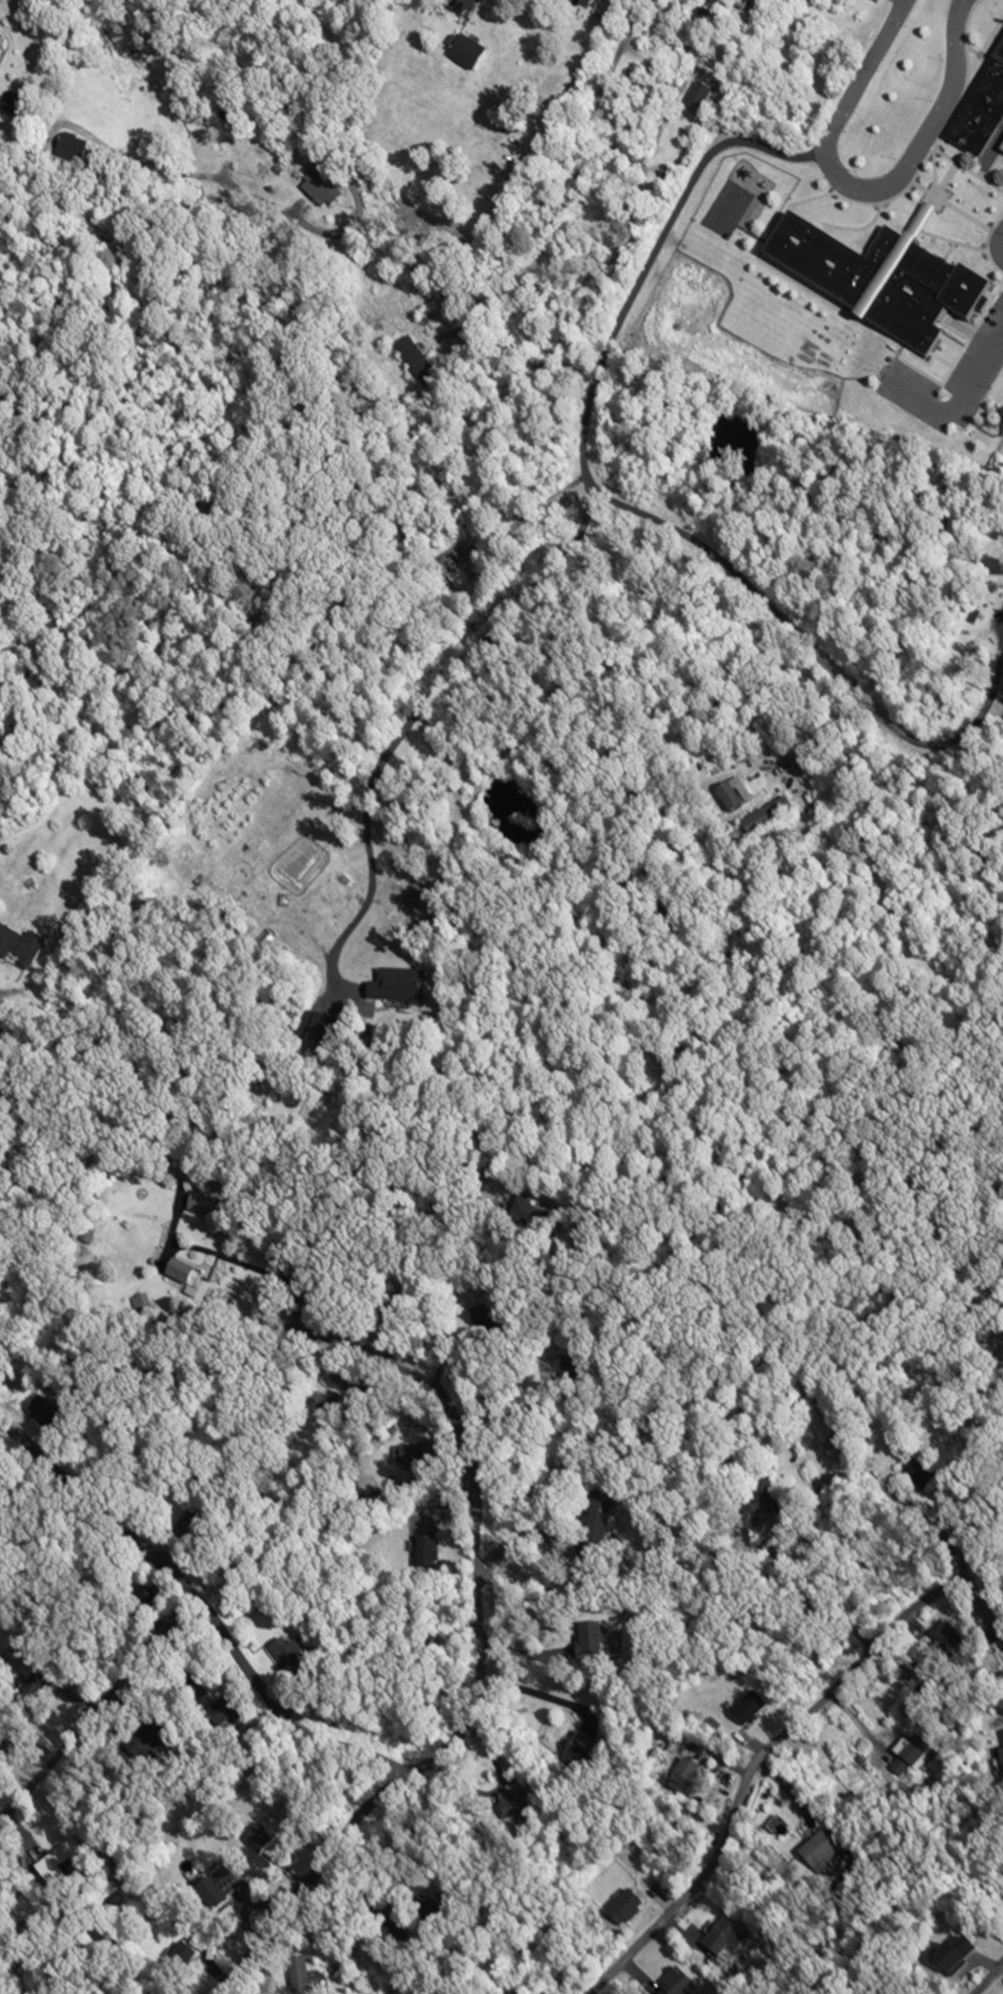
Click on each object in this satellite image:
building: (672, 4)
building: (744, 4)
road: (472, 6)
building: (697, 17)
building: (466, 53)
building: (633, 76)
road: (278, 94)
building: (698, 98)
building: (11, 107)
building: (616, 108)
building: (982, 115)
road: (925, 142)
building: (69, 148)
road: (134, 162)
road: (553, 180)
building: (319, 190)
road: (683, 193)
road: (307, 227)
building: (879, 281)
building: (415, 364)
road: (823, 660)
road: (419, 708)
building: (729, 799)
building: (760, 822)
building: (20, 946)
building: (400, 987)
building: (198, 1203)
building: (182, 1274)
building: (483, 1322)
road: (536, 1403)
building: (339, 1410)
building: (415, 1455)
road: (836, 1474)
building: (759, 1494)
building: (598, 1524)
building: (190, 1529)
road: (932, 1529)
building: (426, 1548)
road: (202, 1606)
road: (982, 1612)
building: (588, 1642)
building: (287, 1653)
road: (476, 1673)
road: (532, 1691)
road: (95, 1702)
building: (577, 1751)
building: (909, 1756)
building: (1001, 1763)
road: (749, 1768)
building: (683, 1777)
building: (513, 1806)
building: (259, 1839)
building: (820, 1854)
building: (216, 1887)
building: (625, 1908)
building: (429, 1912)
building: (392, 1933)
building: (721, 1938)
building: (187, 1954)
building: (950, 1961)
road: (989, 1978)
building: (301, 1979)
building: (673, 1984)

